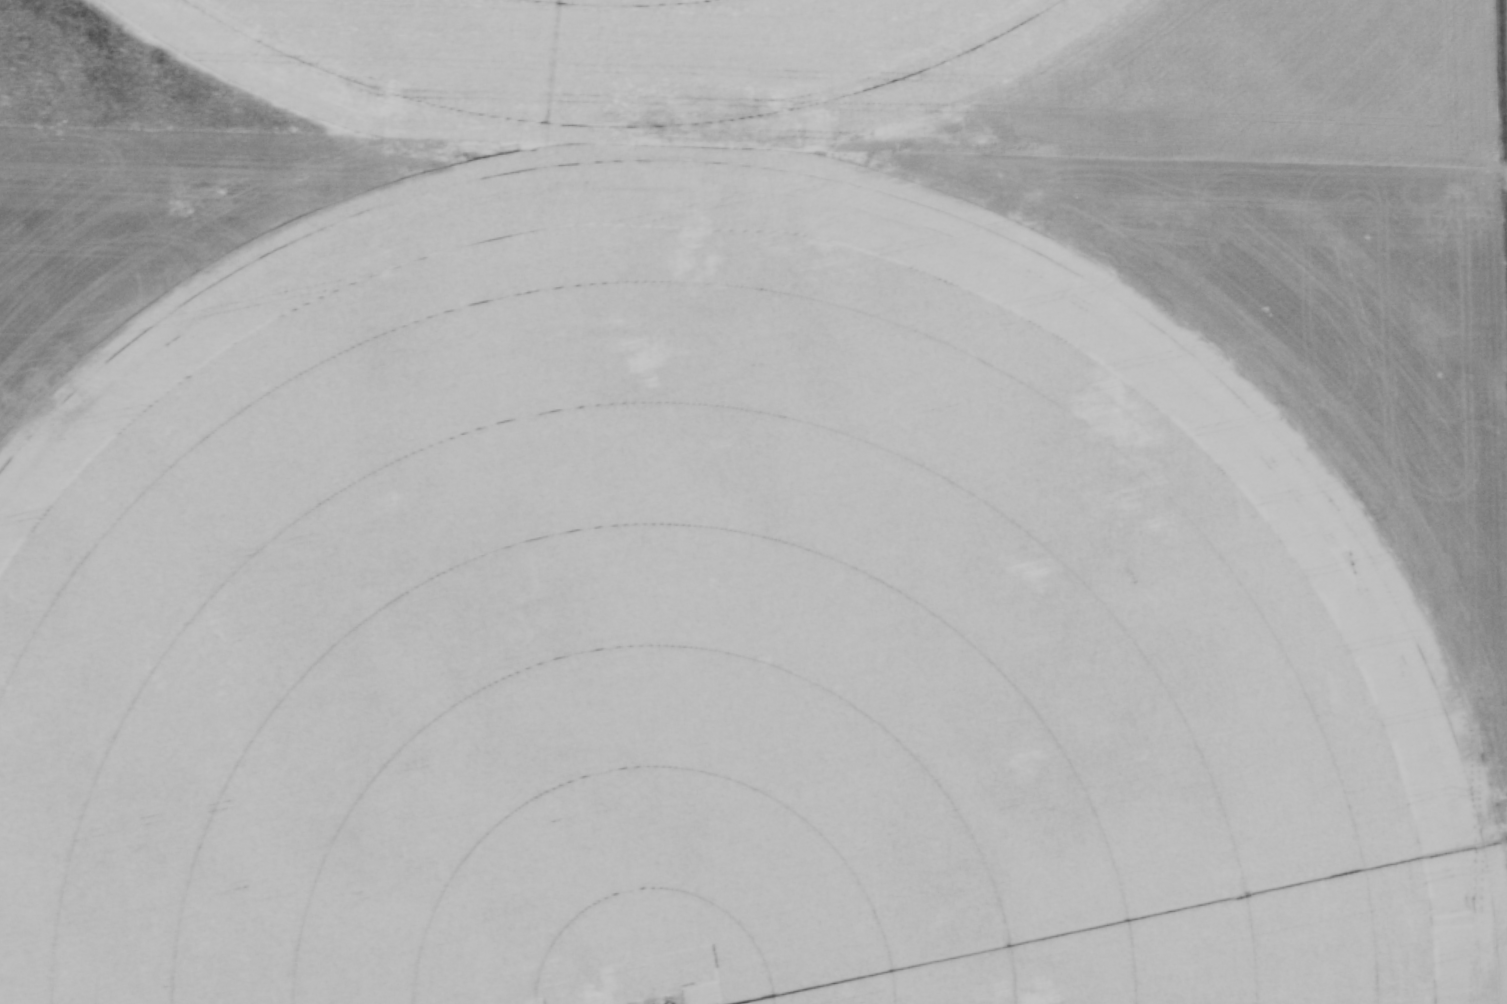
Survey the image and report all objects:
crop: (675, 541)

